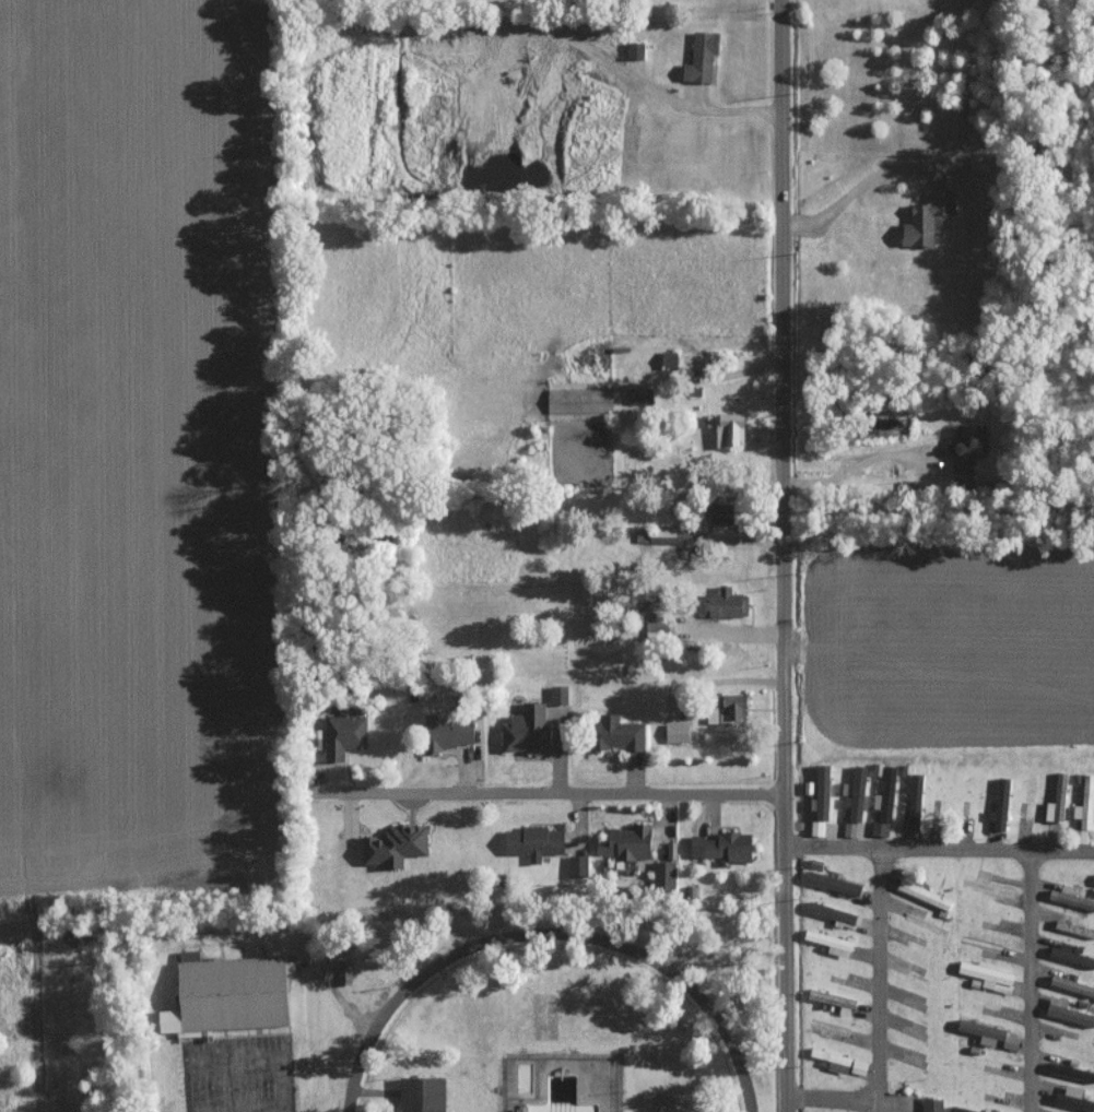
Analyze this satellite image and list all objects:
building: (637, 50)
building: (704, 57)
road: (861, 189)
building: (922, 220)
road: (781, 247)
building: (672, 359)
building: (640, 395)
building: (581, 400)
building: (727, 428)
building: (965, 451)
road: (850, 466)
road: (938, 509)
building: (673, 535)
building: (730, 602)
building: (731, 708)
building: (529, 729)
building: (346, 732)
building: (448, 732)
building: (622, 732)
building: (679, 732)
road: (555, 785)
building: (824, 792)
building: (858, 793)
building: (916, 801)
building: (1054, 801)
building: (1083, 802)
road: (781, 803)
building: (885, 803)
building: (997, 805)
building: (819, 827)
building: (849, 828)
building: (537, 841)
building: (631, 841)
building: (398, 844)
building: (726, 845)
road: (830, 849)
building: (579, 865)
building: (666, 873)
road: (879, 873)
building: (834, 883)
building: (927, 894)
road: (549, 936)
building: (834, 942)
building: (1073, 956)
road: (729, 968)
building: (342, 973)
building: (992, 975)
road: (1027, 983)
building: (1073, 984)
building: (225, 996)
building: (1069, 1010)
park: (518, 1025)
park: (542, 1026)
building: (986, 1031)
building: (1013, 1041)
road: (503, 1056)
building: (835, 1058)
road: (254, 1063)
building: (860, 1067)
road: (225, 1069)
building: (1071, 1070)
parking lot: (238, 1075)
road: (374, 1093)
building: (420, 1096)
building: (1074, 1098)
road: (831, 1103)
park: (661, 1104)
building: (933, 1104)
road: (256, 1107)
road: (208, 1109)

